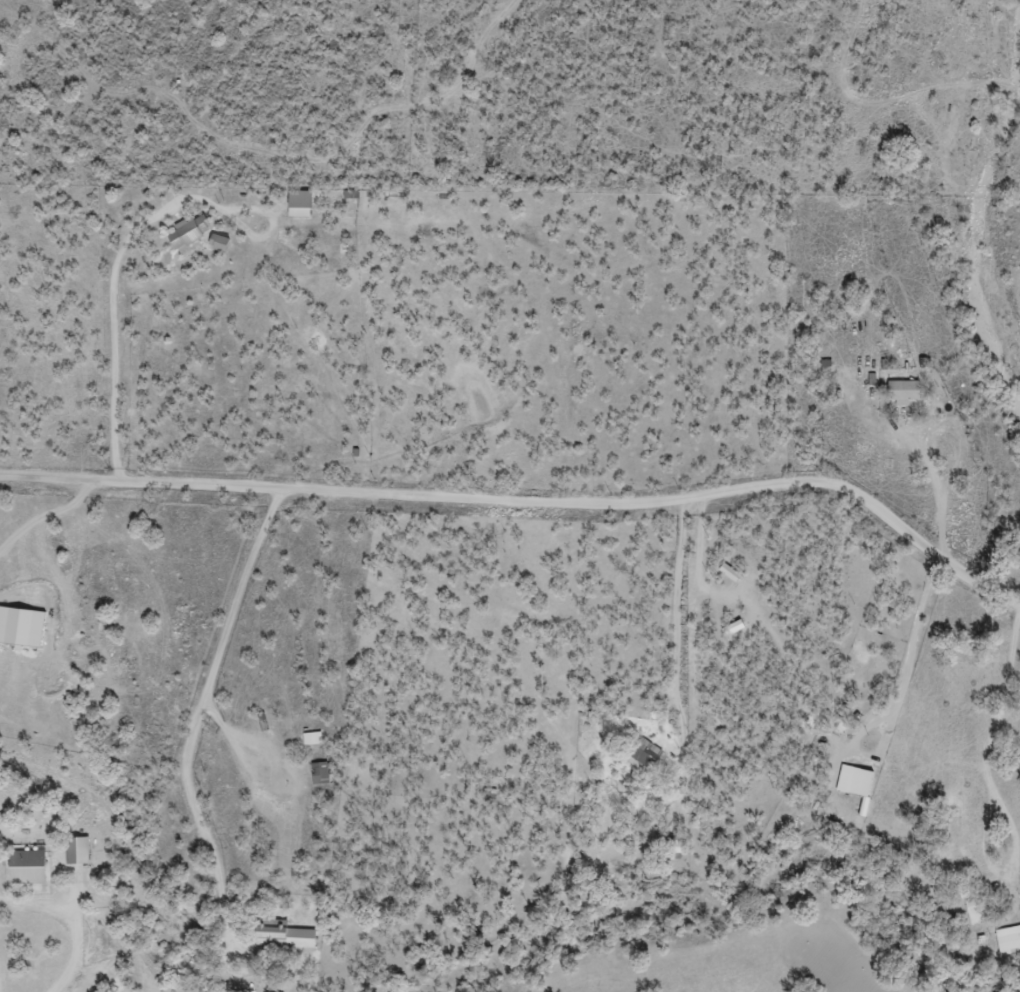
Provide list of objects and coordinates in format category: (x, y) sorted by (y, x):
building: (301, 205)
building: (190, 233)
building: (221, 245)
building: (904, 392)
road: (539, 514)
road: (531, 560)
building: (21, 627)
building: (313, 740)
building: (643, 756)
building: (321, 774)
building: (856, 782)
building: (674, 850)
building: (78, 852)
building: (29, 868)
building: (975, 912)
building: (285, 937)
building: (1008, 942)

